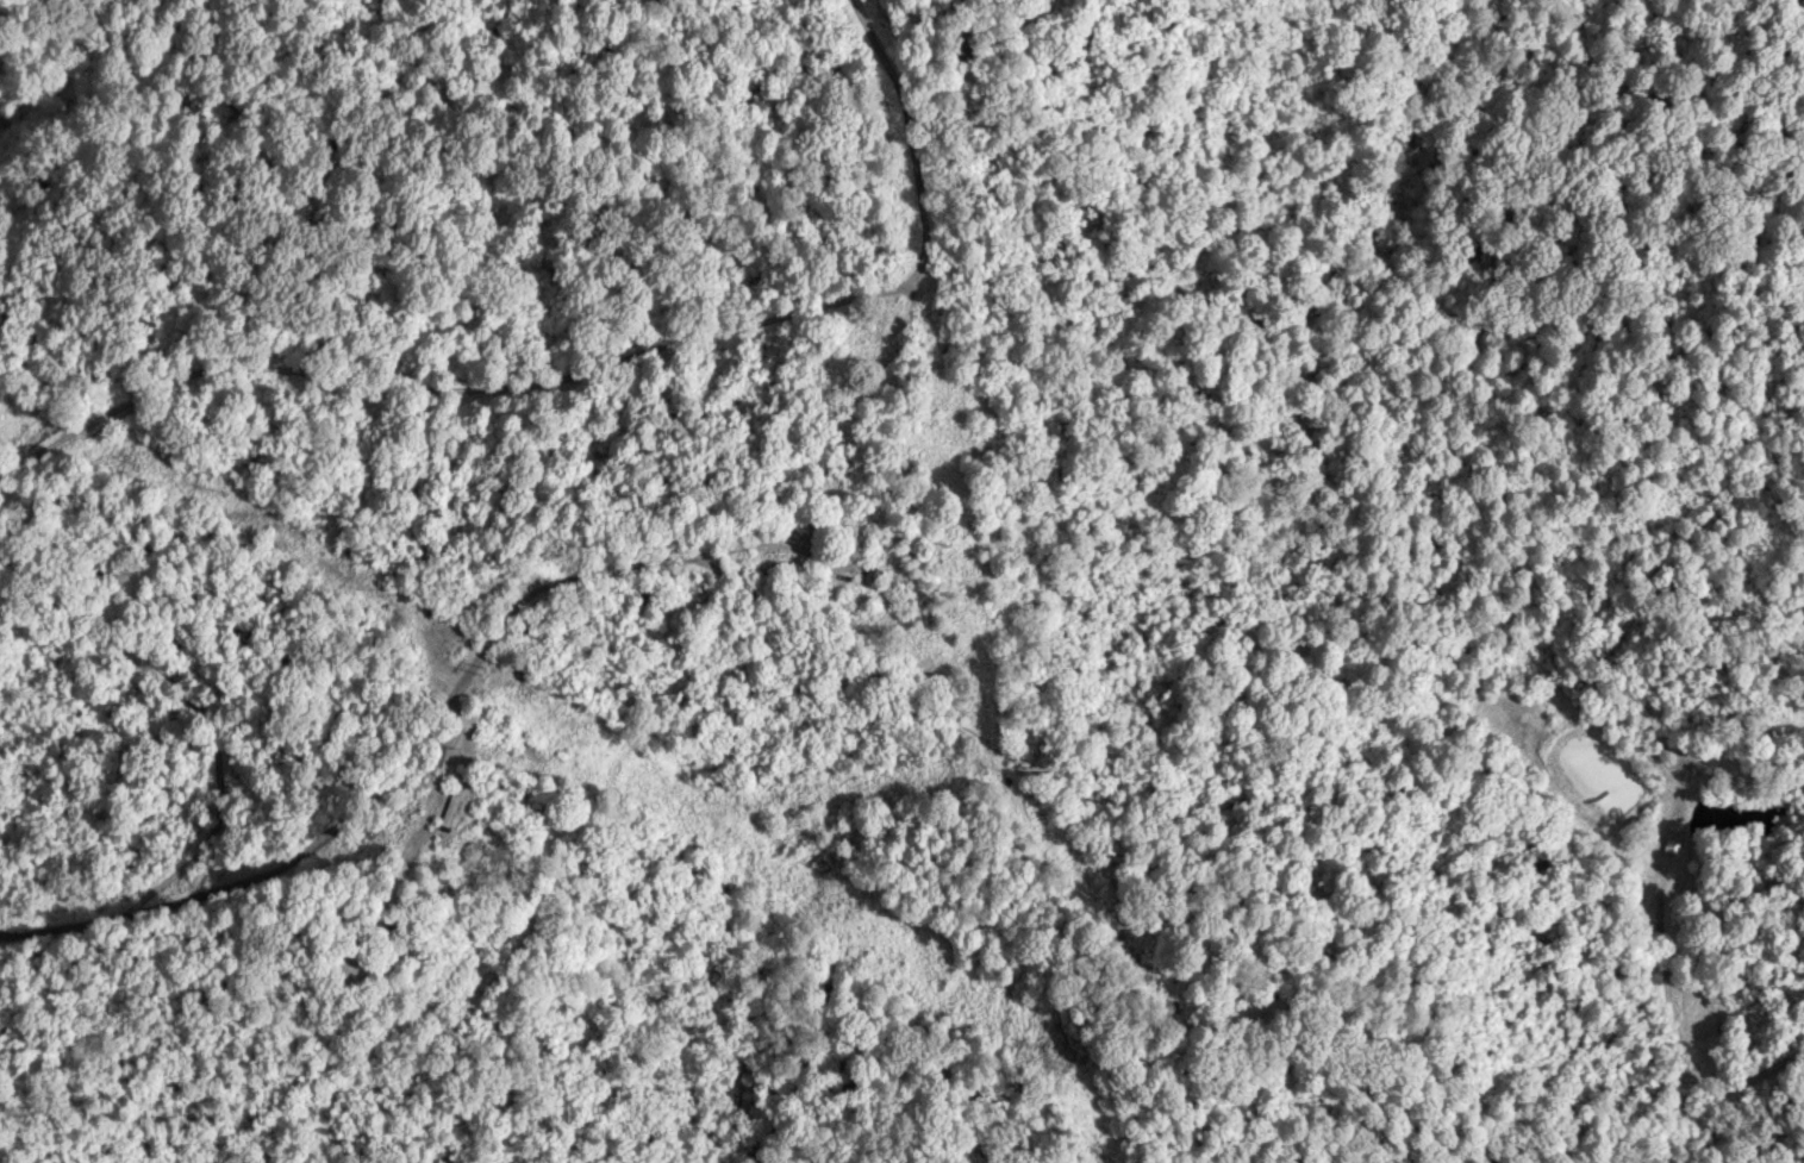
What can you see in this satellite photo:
road: (1, 2)
road: (864, 123)
road: (439, 361)
building: (866, 576)
road: (719, 593)
road: (822, 596)
road: (137, 715)
building: (444, 812)
building: (1669, 846)

